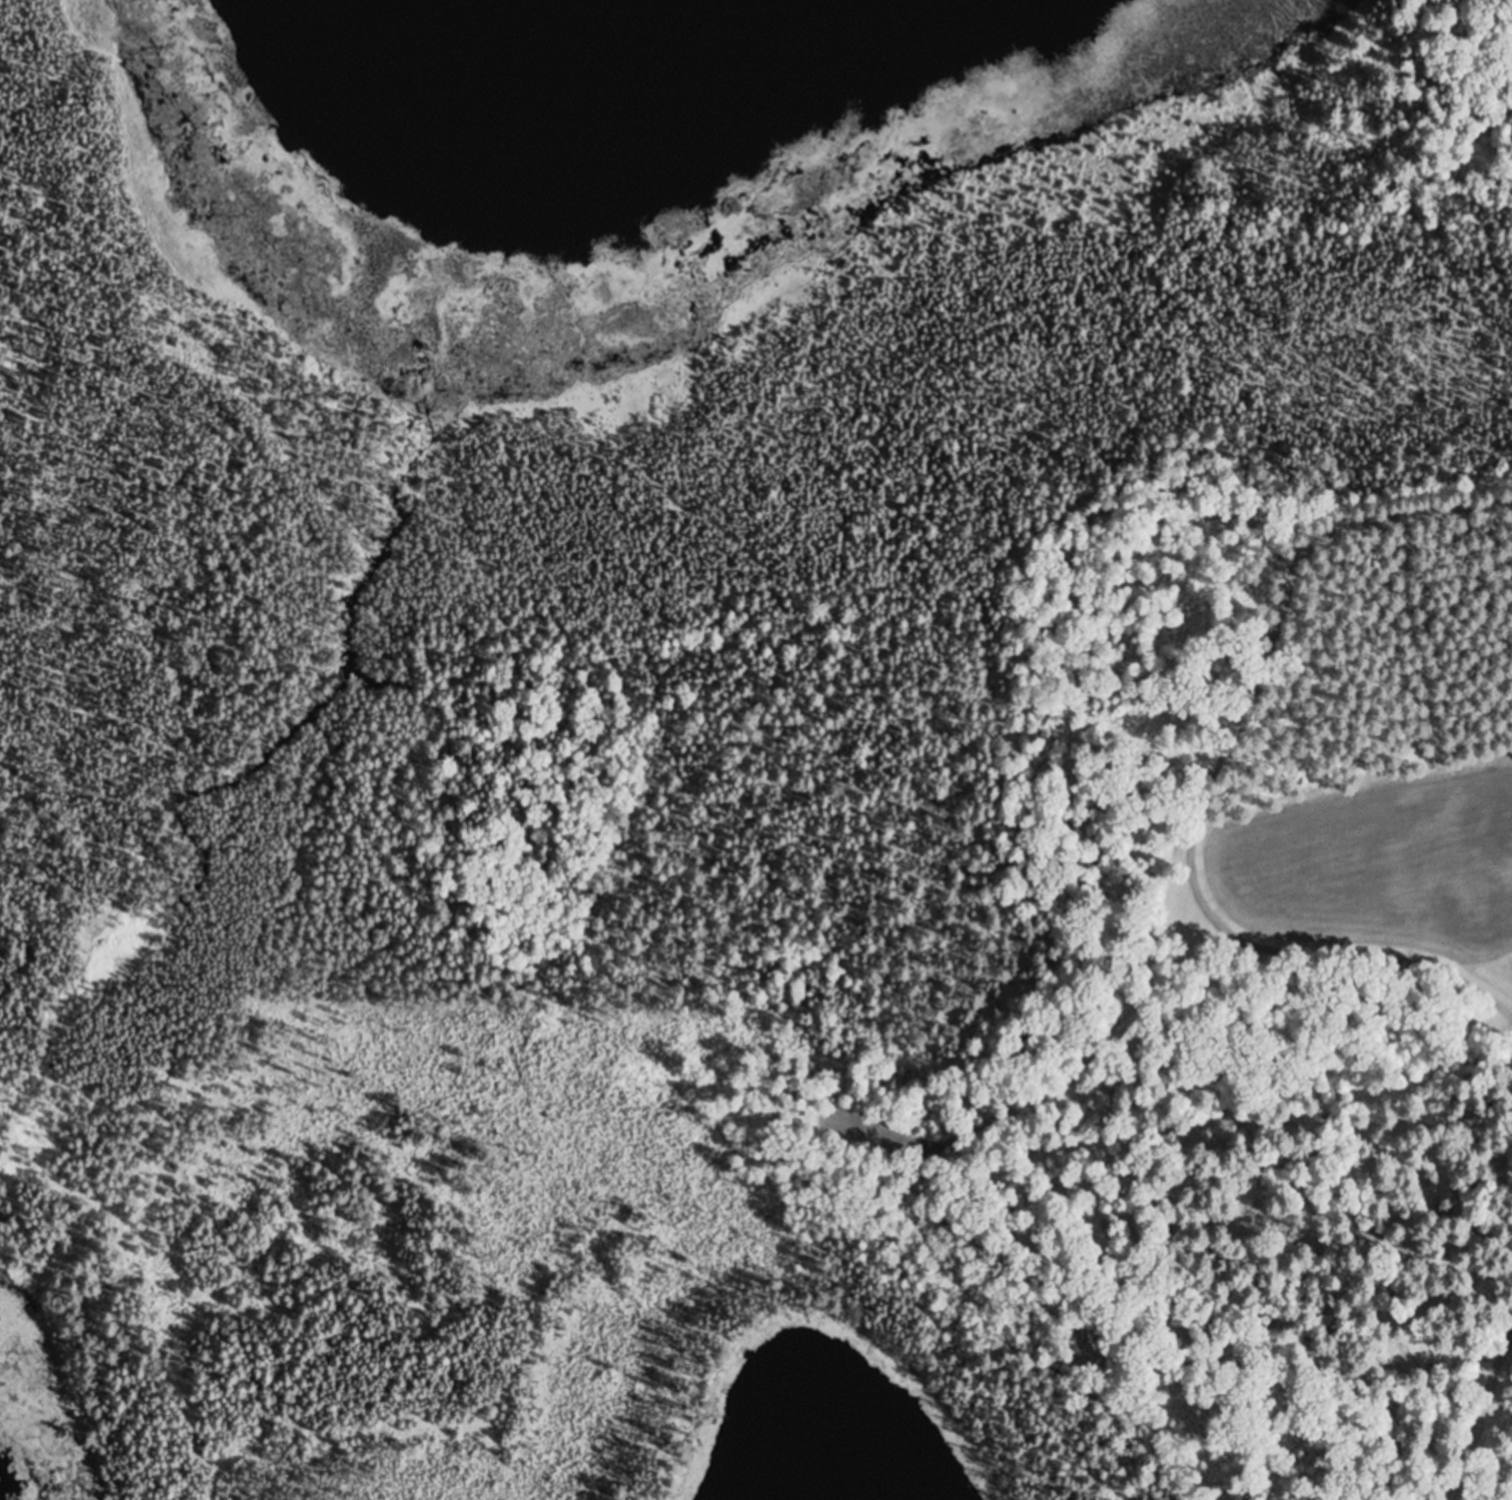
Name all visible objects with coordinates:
road: (1472, 1407)

